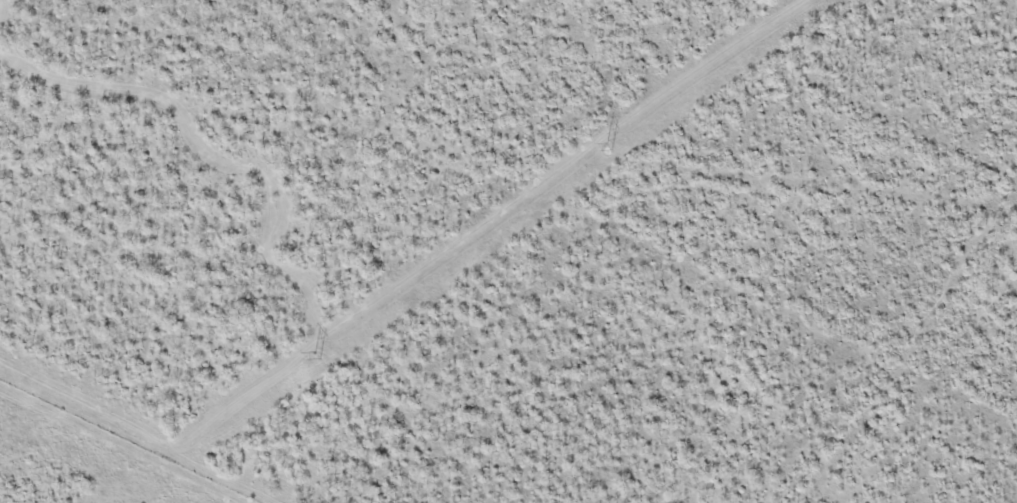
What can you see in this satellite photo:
power tower: (611, 145)
power tower: (321, 355)

